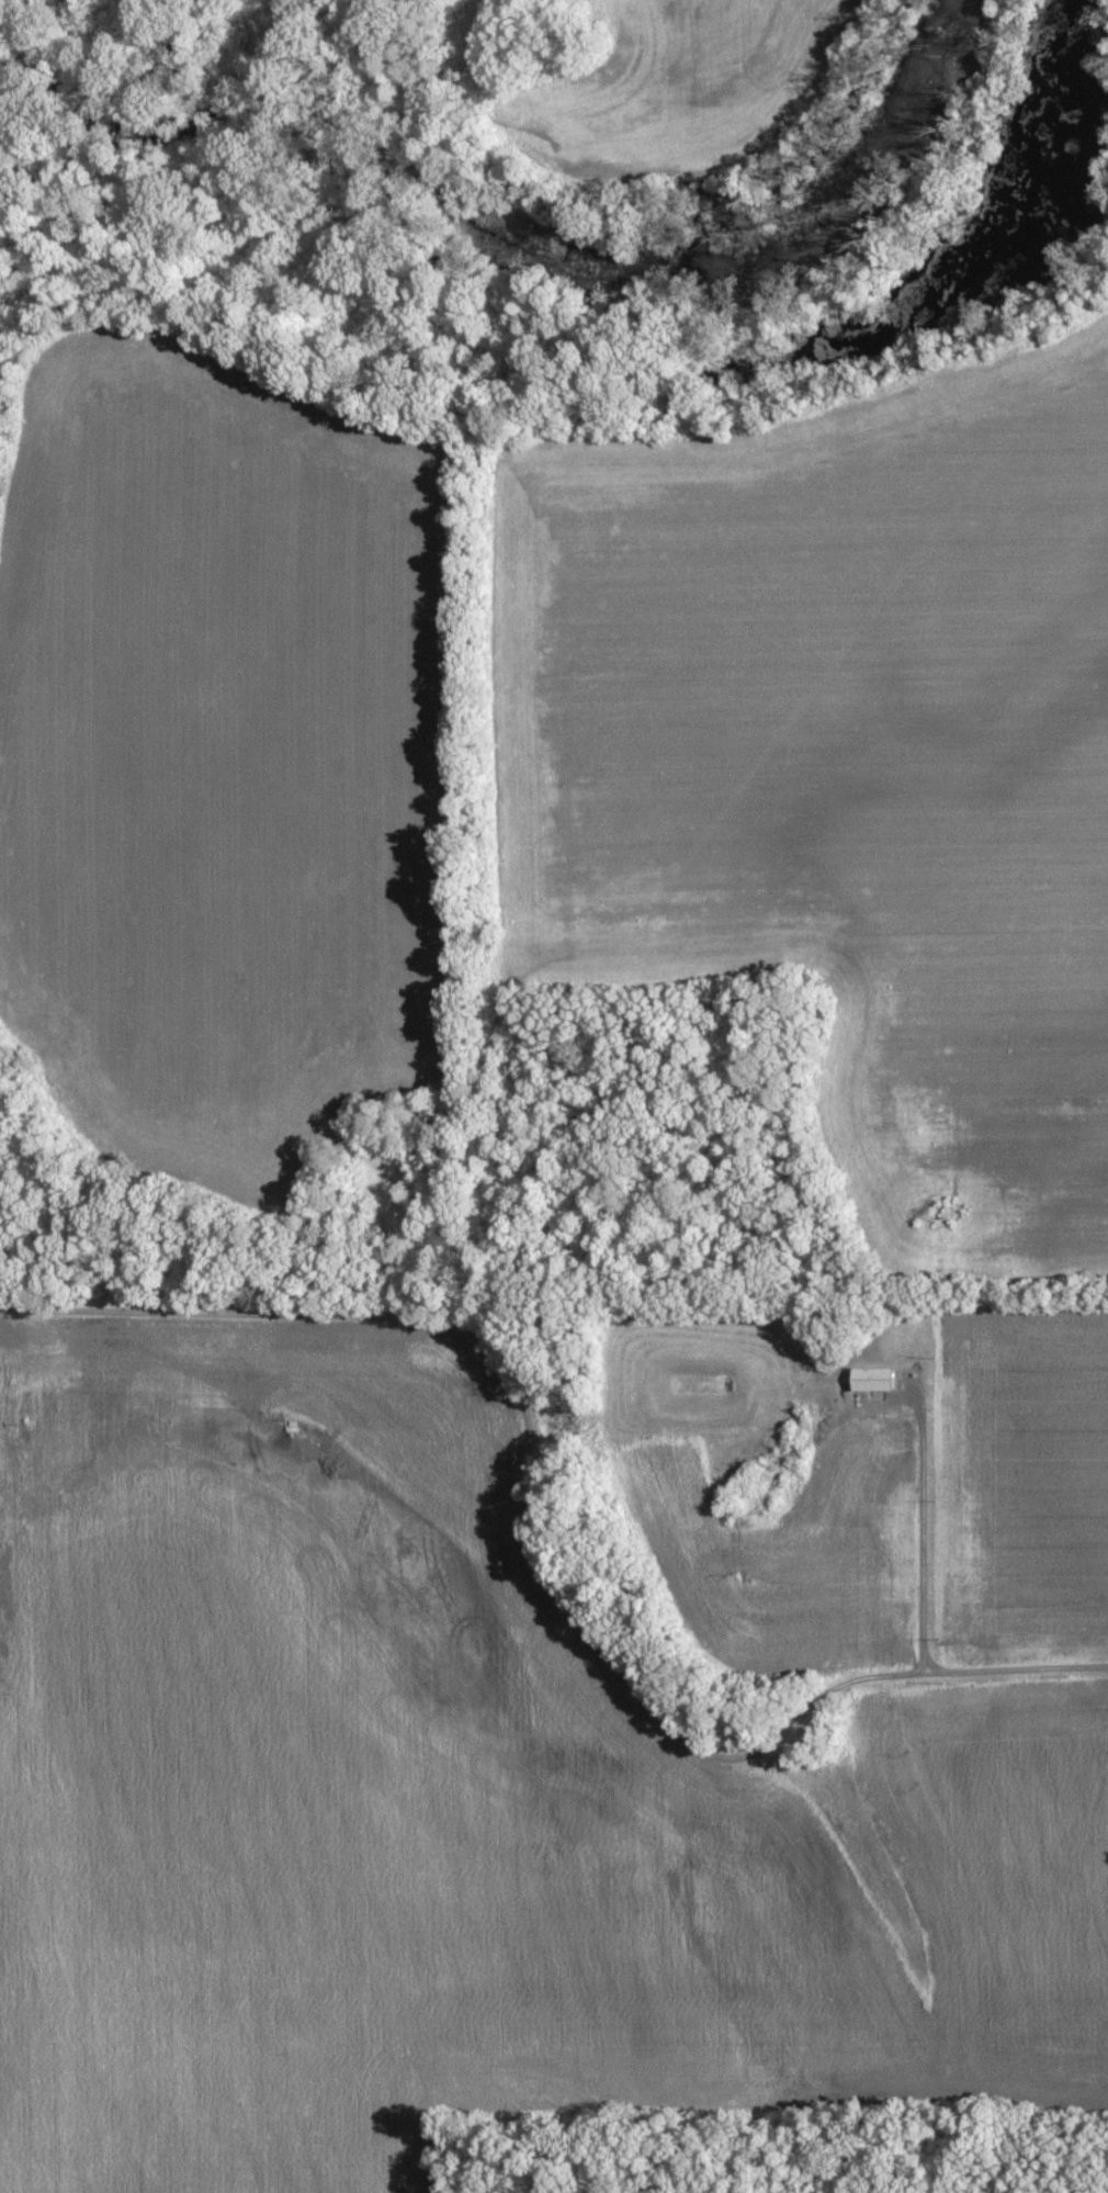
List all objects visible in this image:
building: (875, 1381)
road: (920, 1632)

